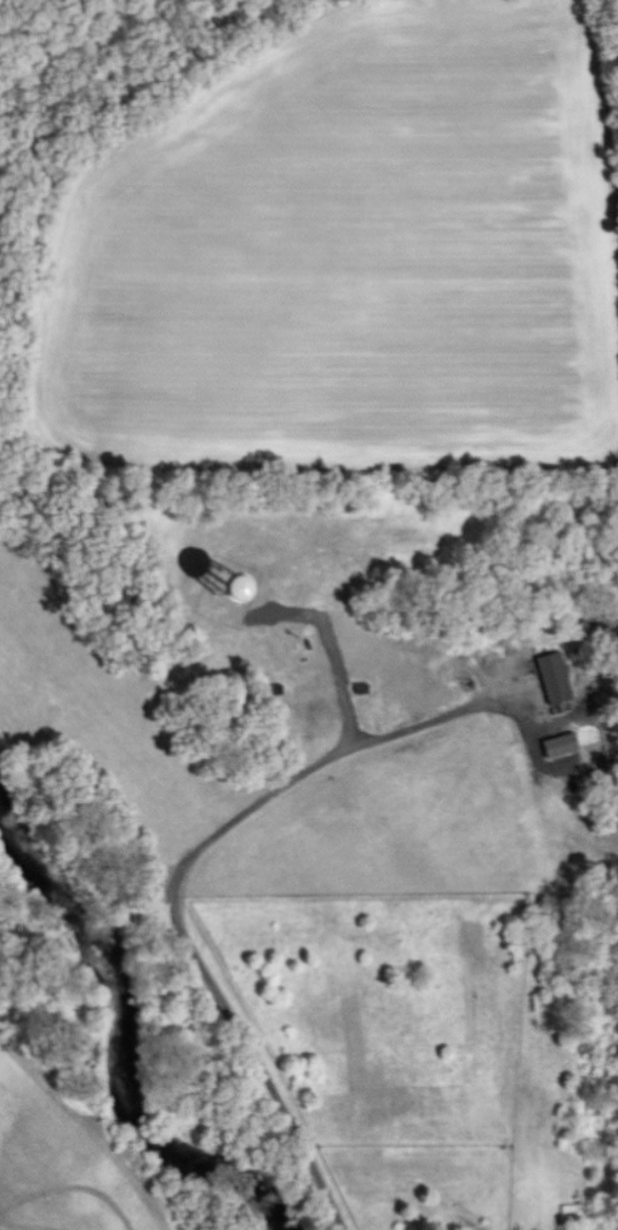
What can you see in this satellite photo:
building: (554, 676)
building: (560, 743)
river: (111, 1042)

